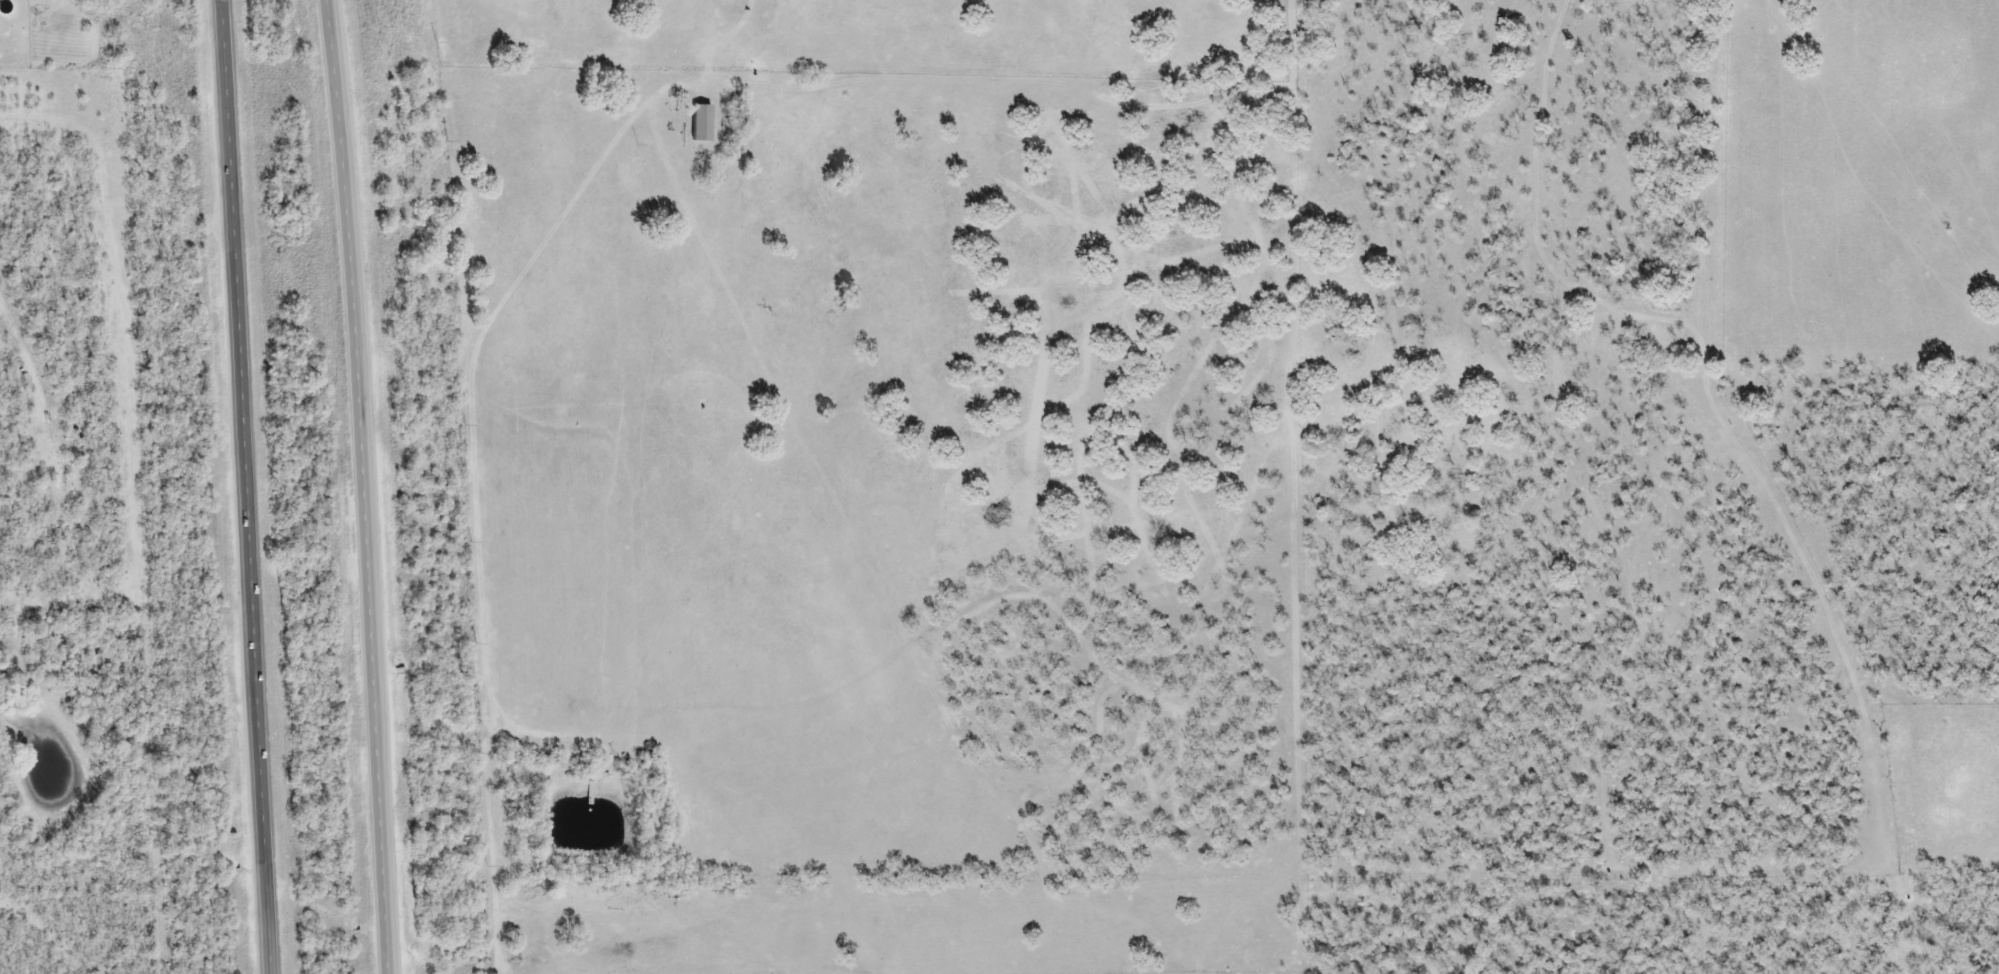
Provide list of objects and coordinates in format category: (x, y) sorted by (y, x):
building: (699, 123)
road: (253, 486)
road: (374, 486)

